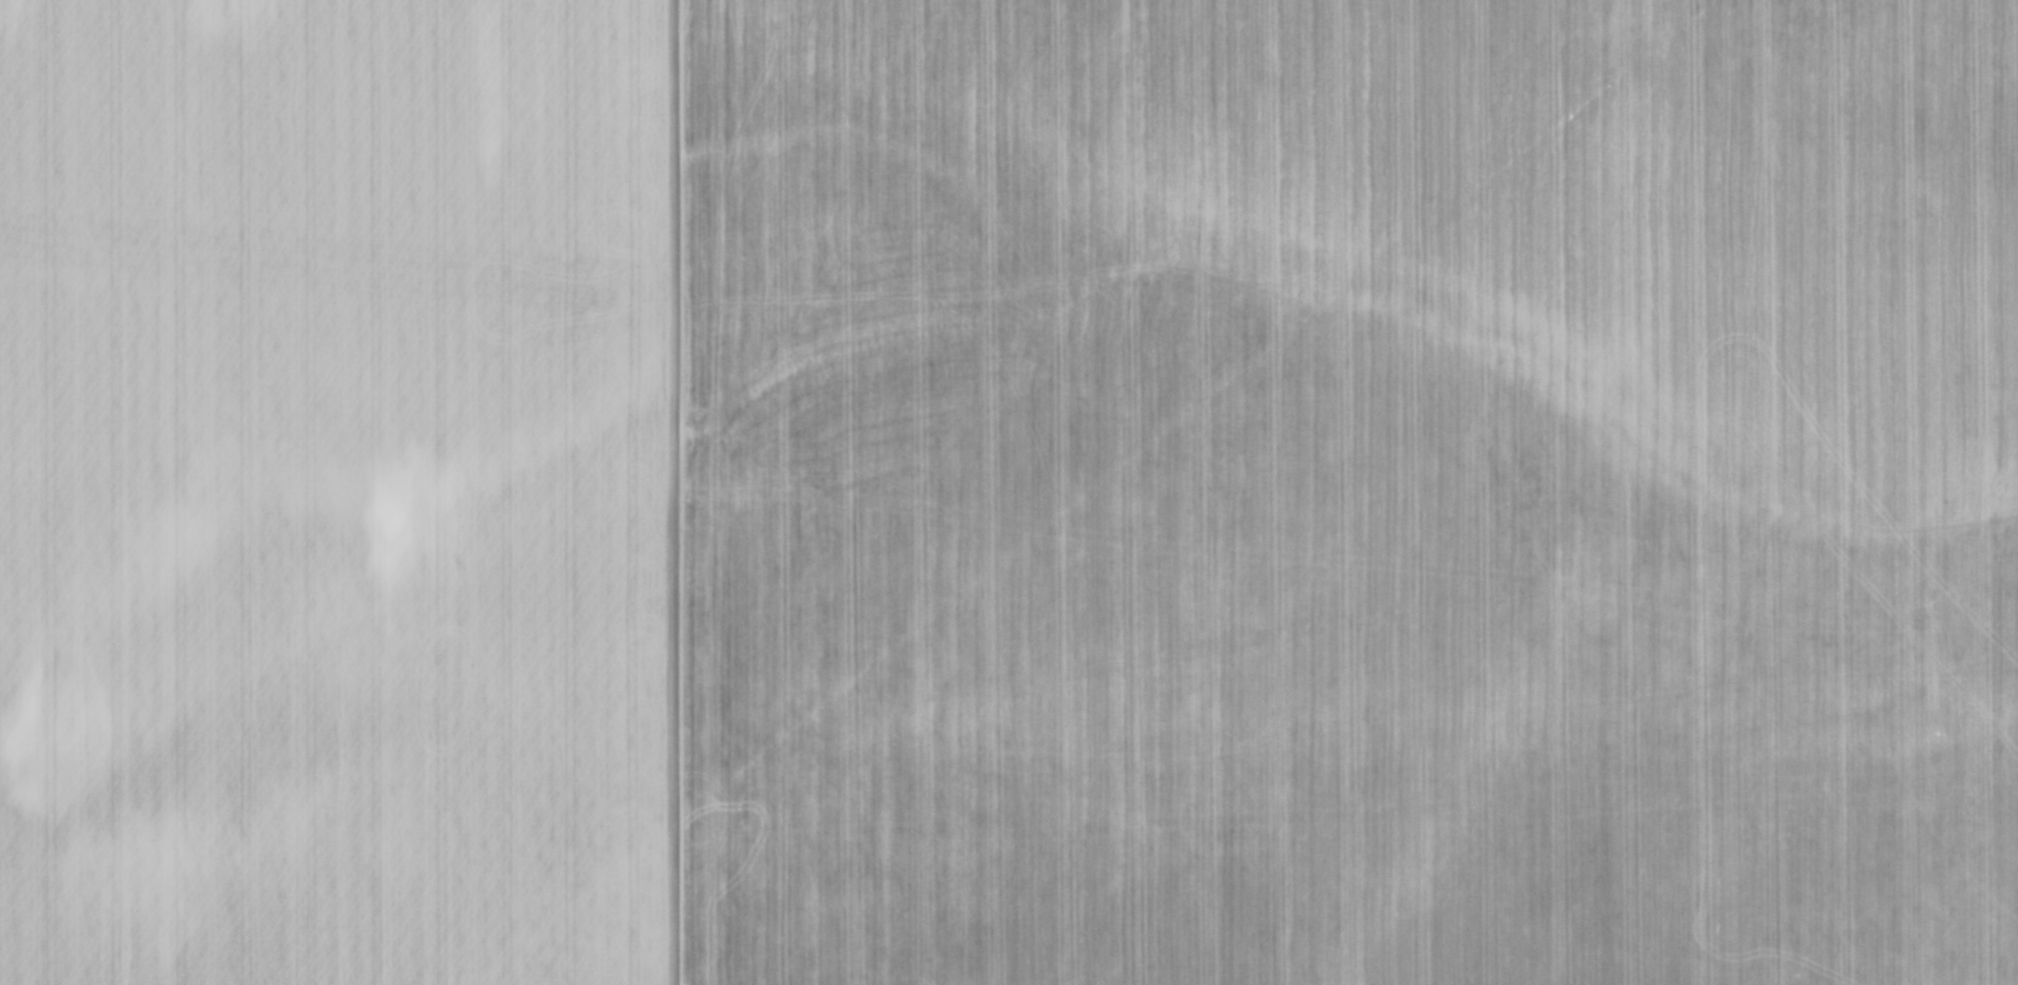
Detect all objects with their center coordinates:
road: (671, 492)

